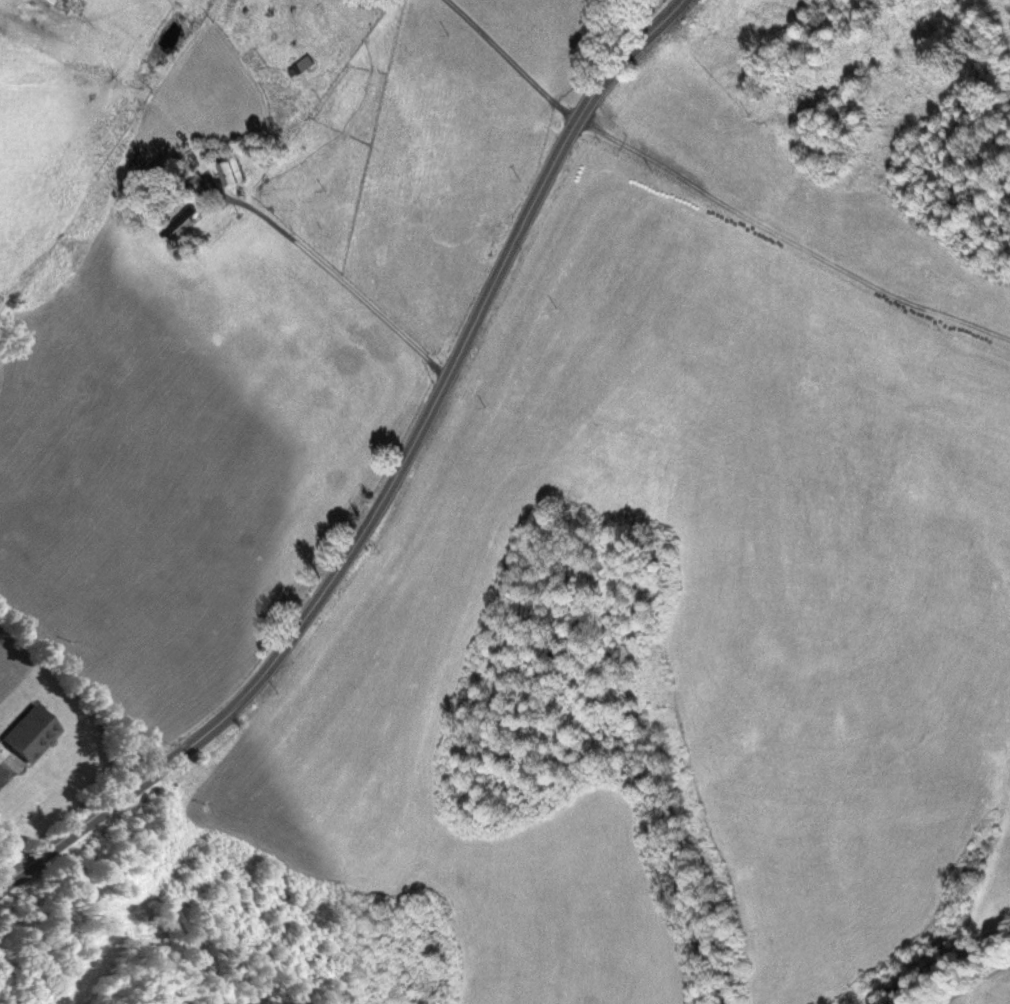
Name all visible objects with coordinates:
building: (60, 5)
building: (227, 174)
road: (710, 218)
building: (182, 223)
road: (326, 273)
road: (392, 483)
building: (23, 736)

